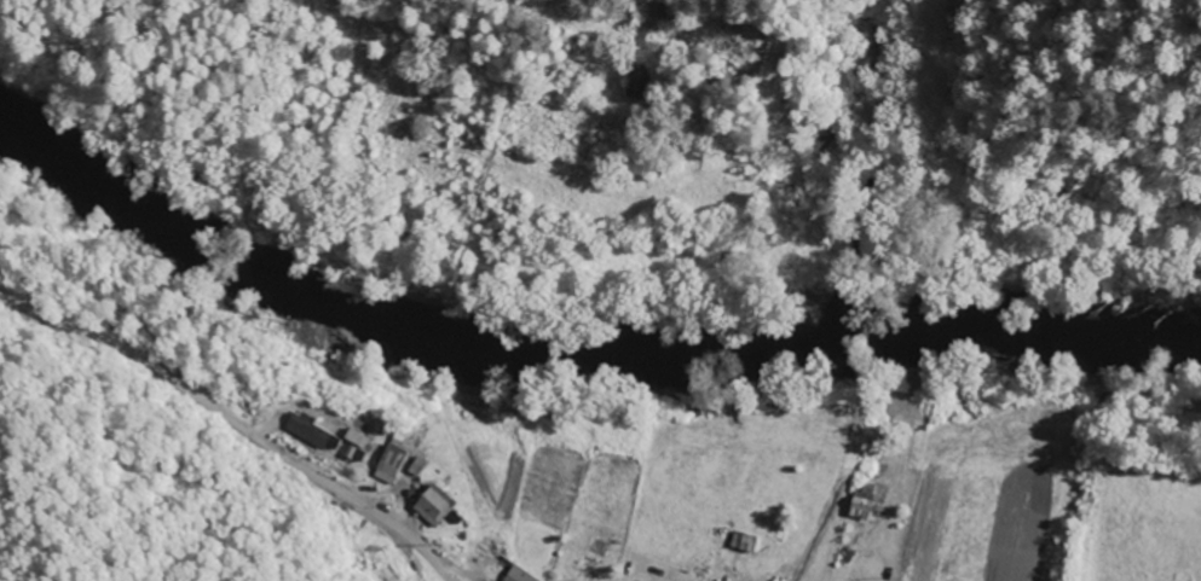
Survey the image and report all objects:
building: (637, 83)
river: (578, 347)
building: (313, 435)
road: (214, 441)
building: (391, 466)
building: (862, 506)
building: (435, 509)
building: (519, 576)

